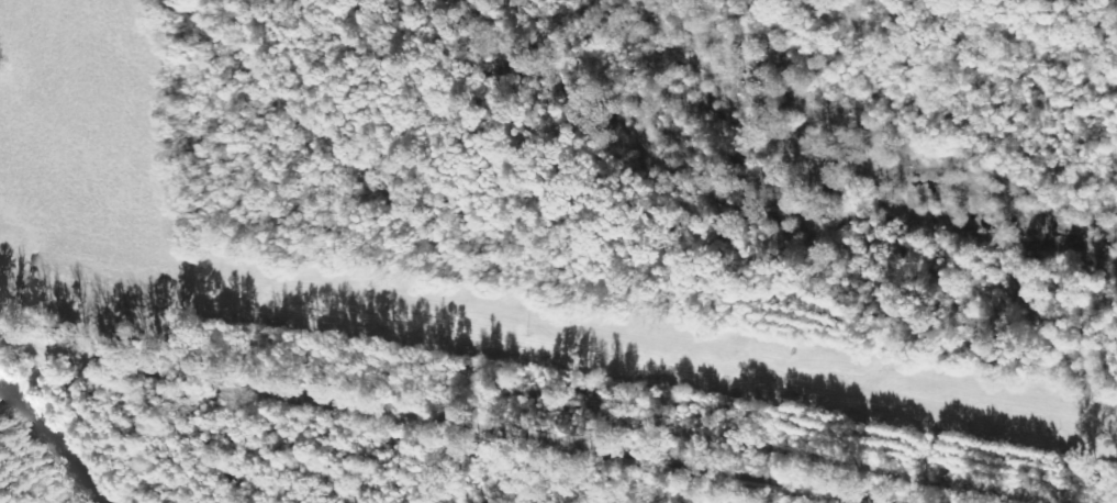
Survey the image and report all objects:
road: (422, 417)

